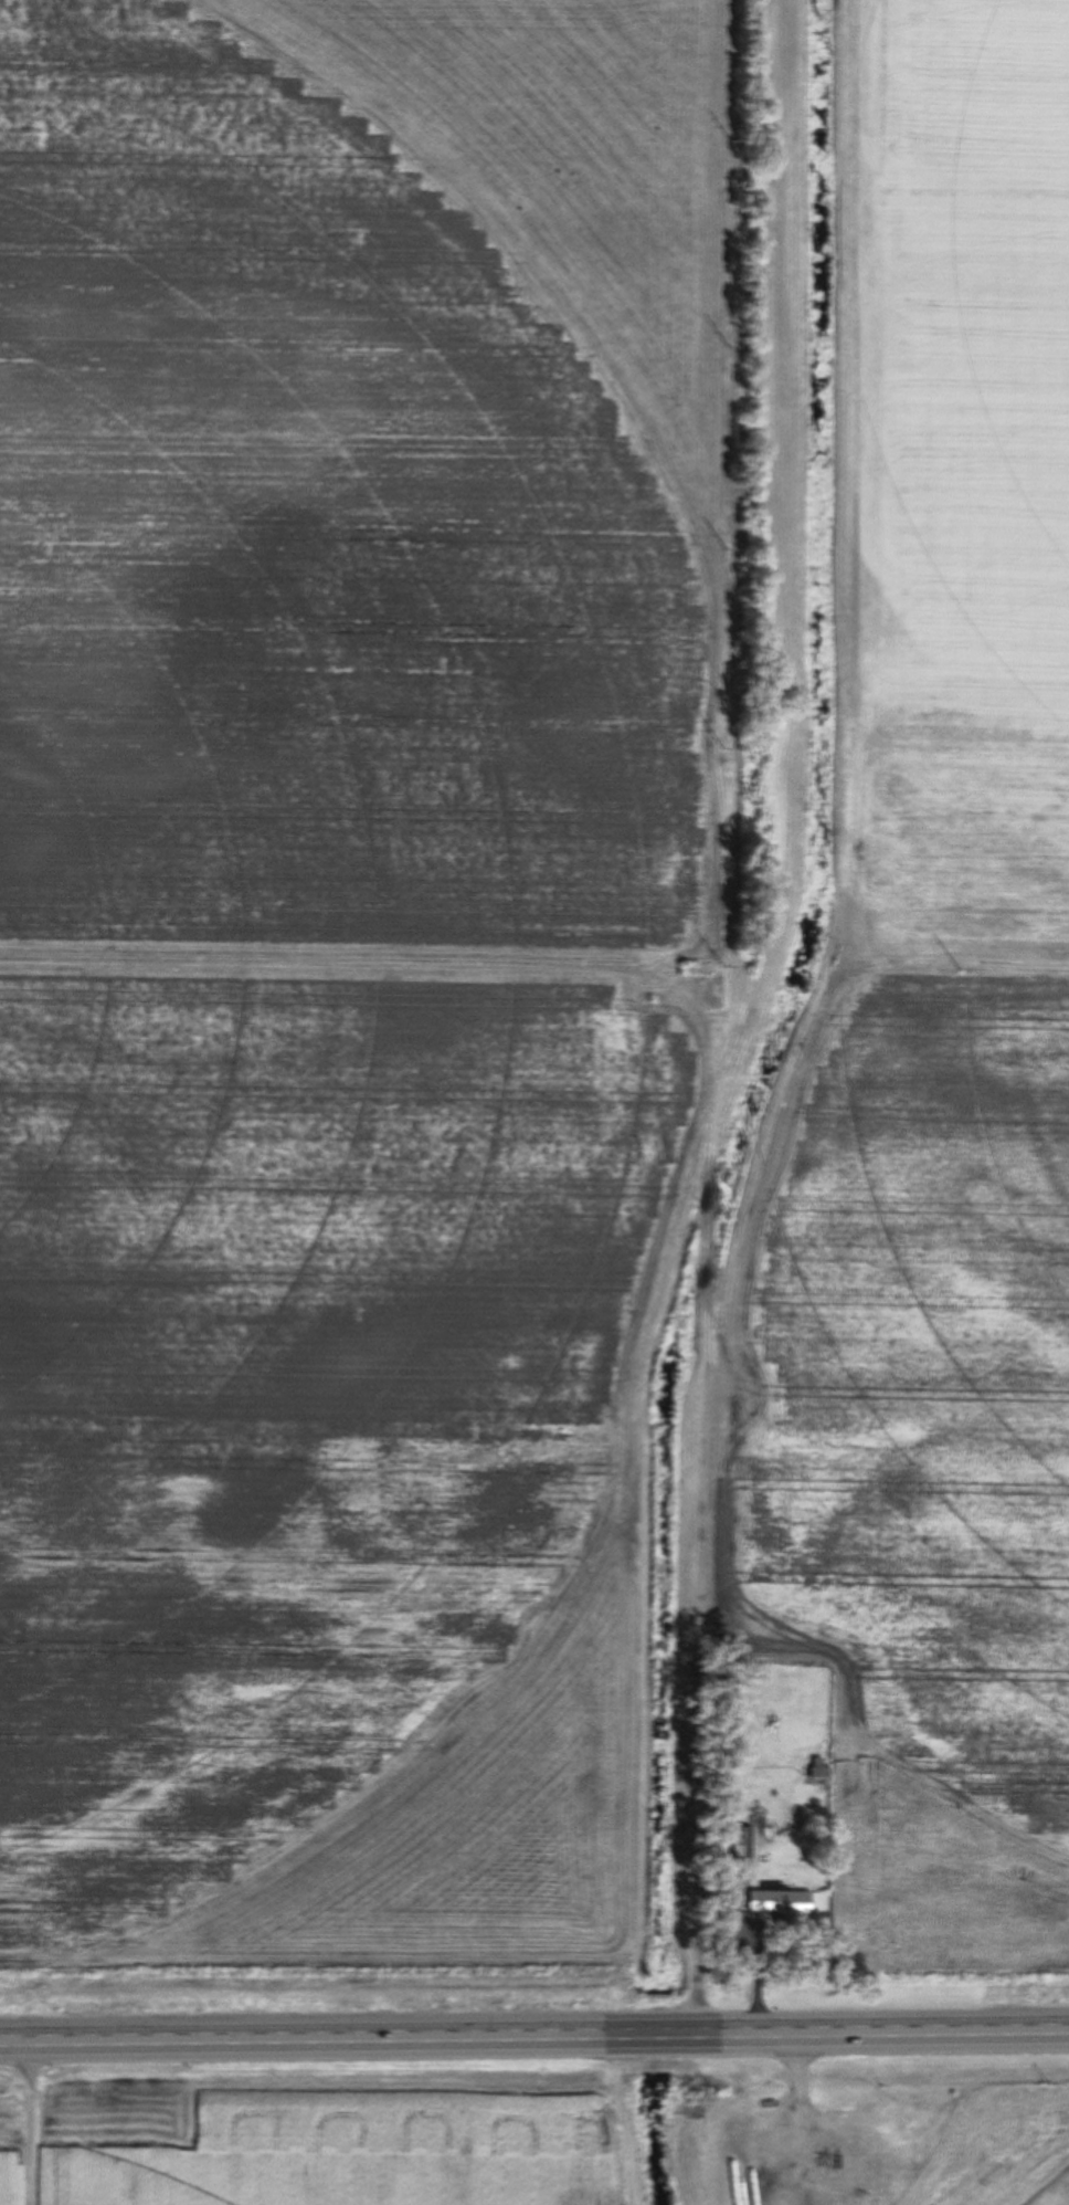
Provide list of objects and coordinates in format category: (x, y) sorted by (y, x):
building: (819, 1768)
building: (759, 1826)
building: (770, 1833)
building: (738, 1848)
building: (781, 1901)
road: (533, 2039)
road: (36, 2125)
crop: (914, 2146)

